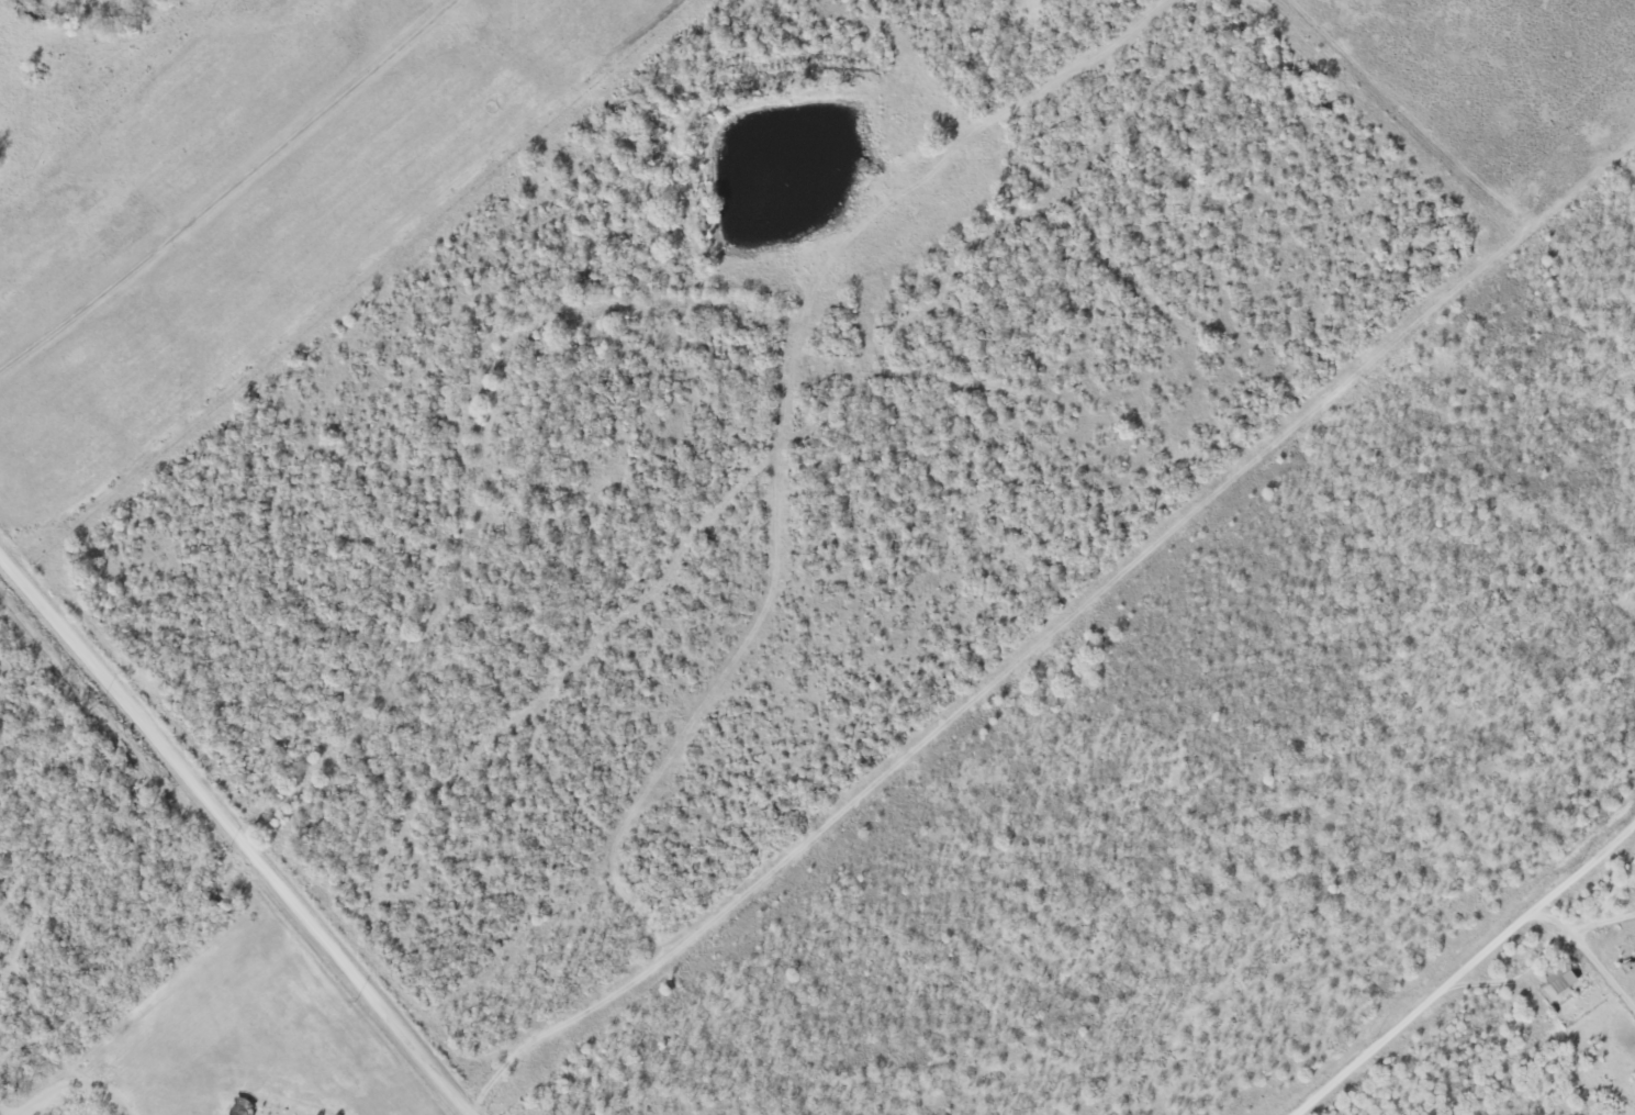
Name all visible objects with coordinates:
road: (231, 189)
road: (236, 834)
road: (1468, 972)

